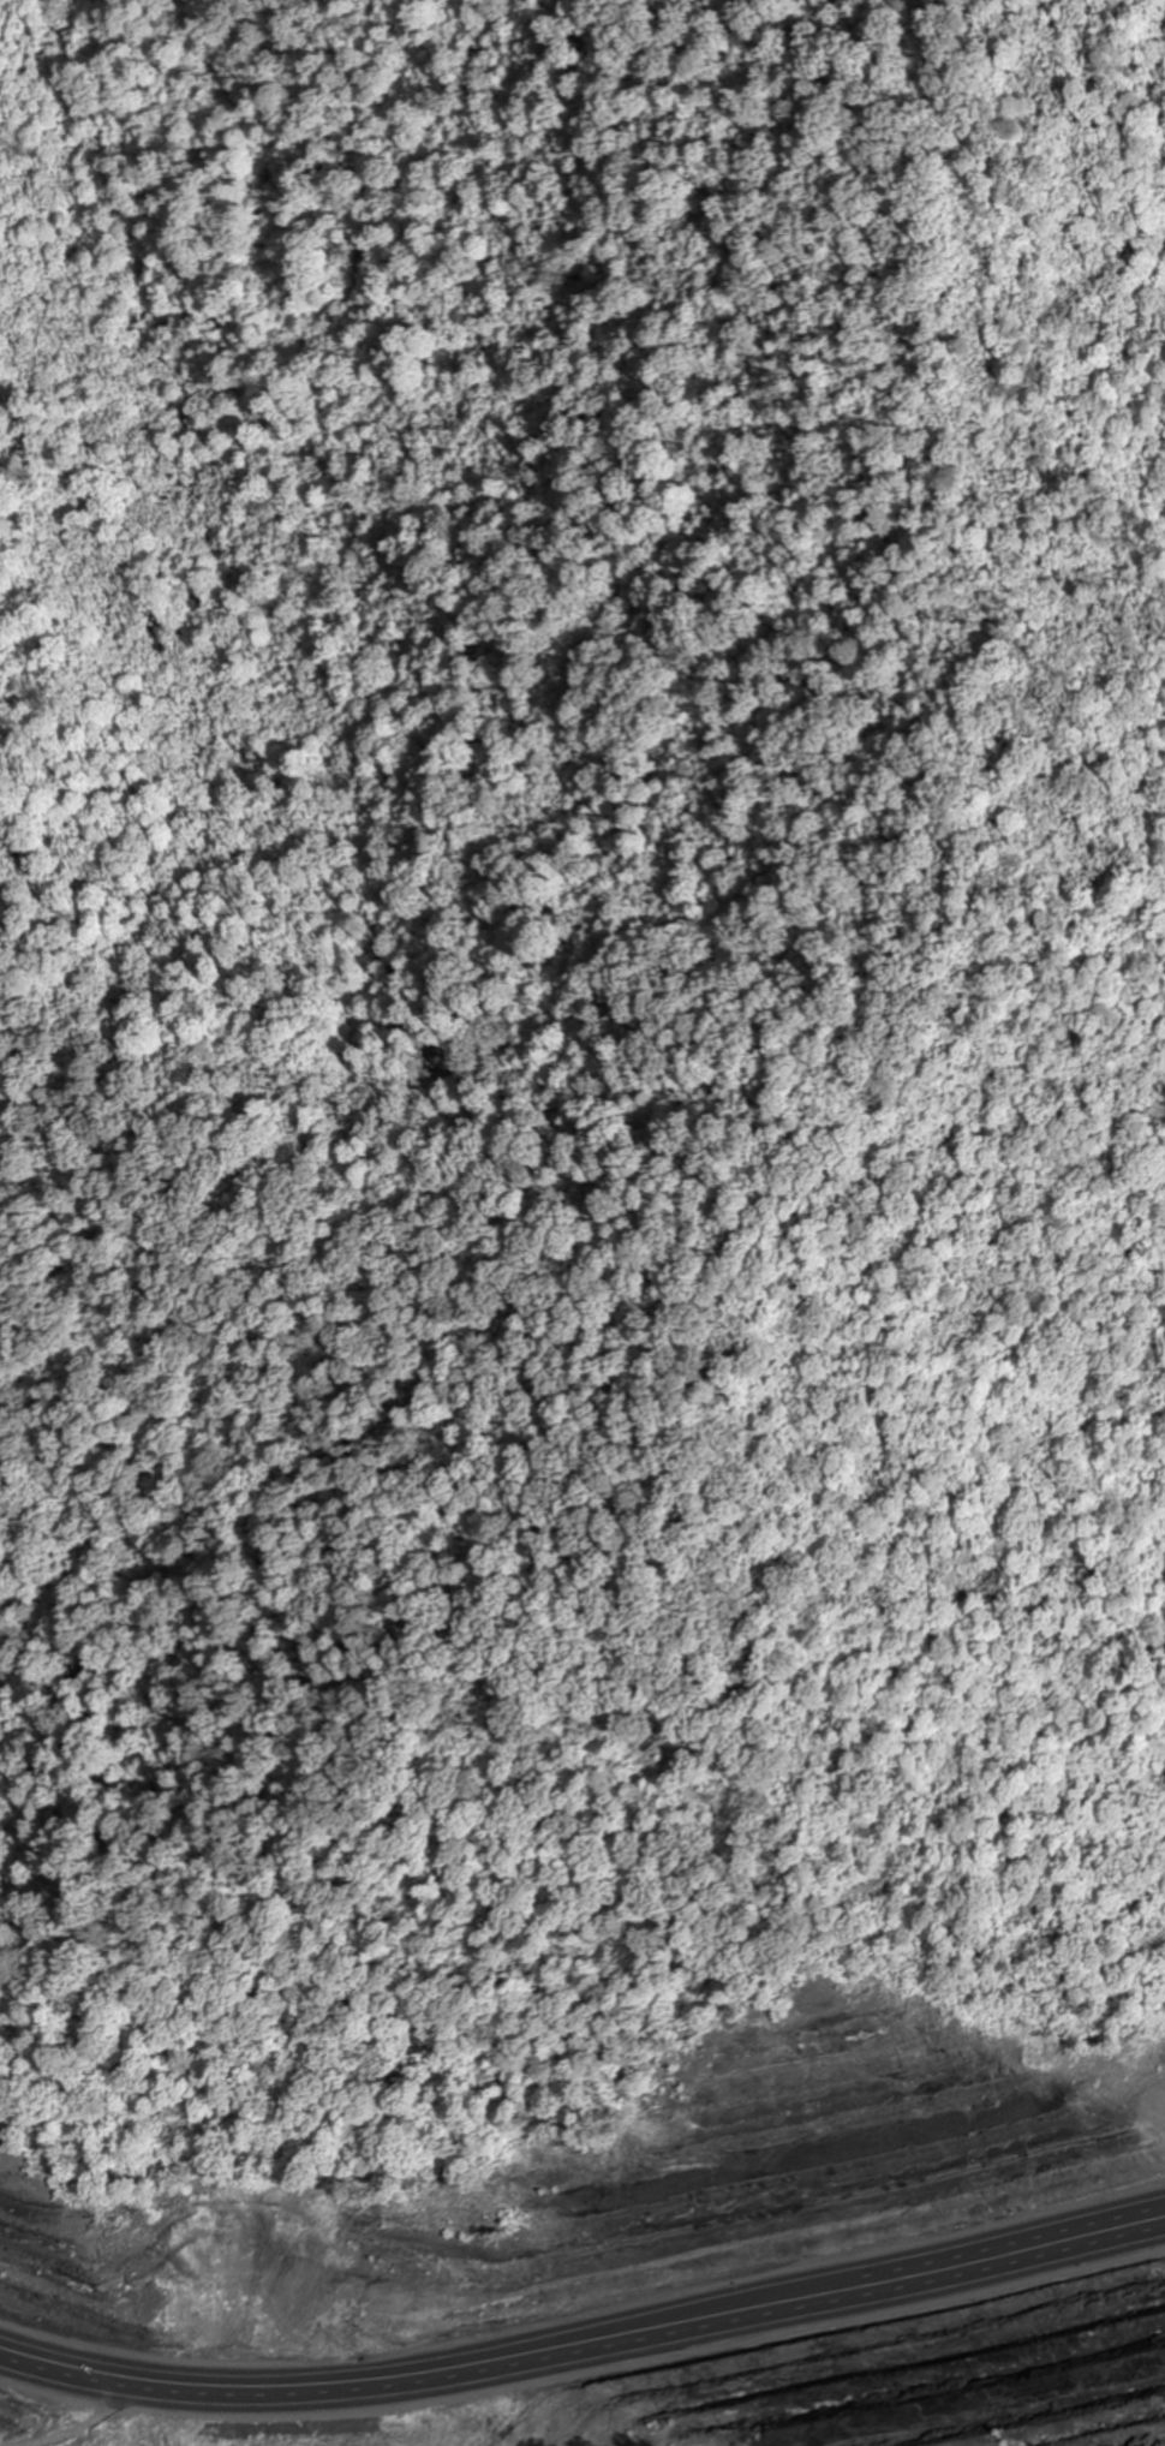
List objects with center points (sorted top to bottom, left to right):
road: (586, 2350)

